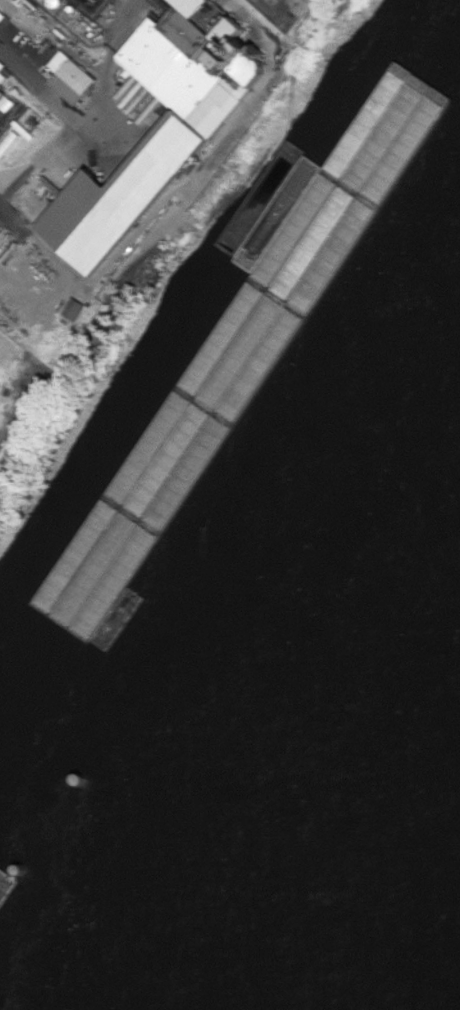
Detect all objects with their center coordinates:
building: (70, 77)
road: (57, 103)
building: (184, 138)
building: (82, 309)

